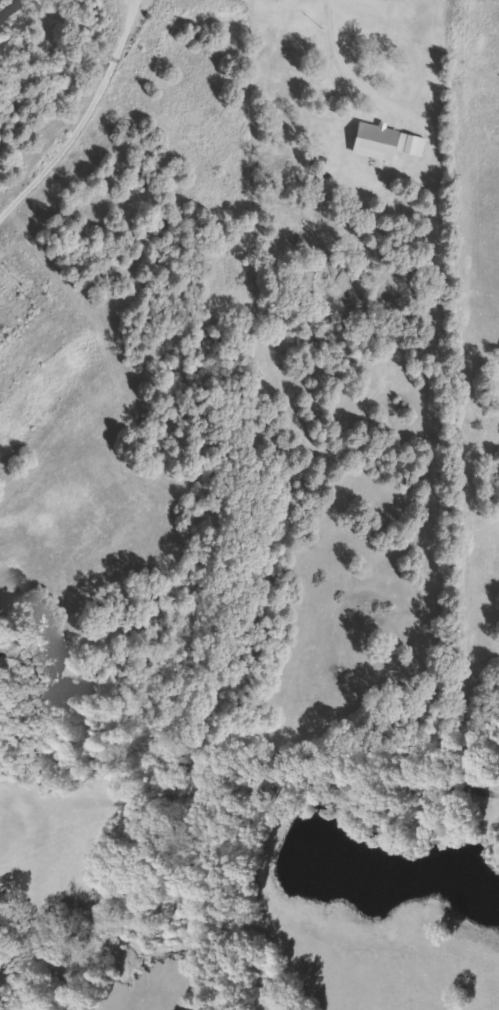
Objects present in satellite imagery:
building: (388, 144)

